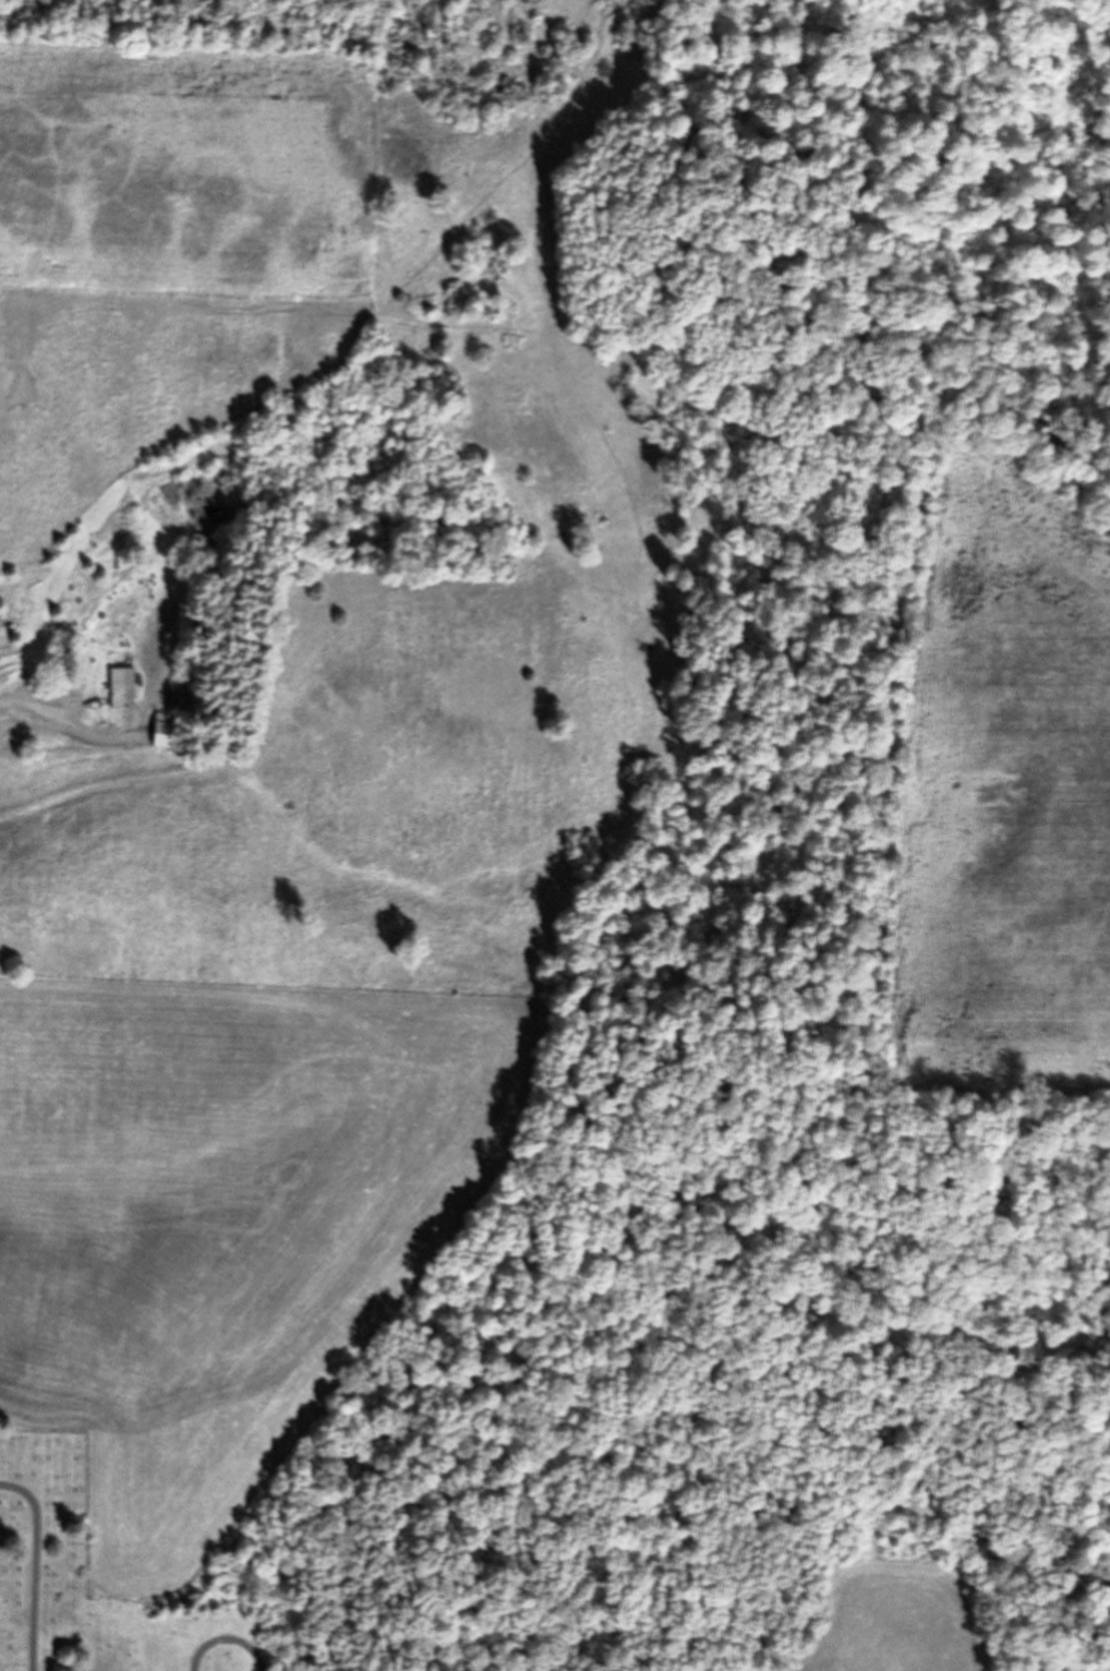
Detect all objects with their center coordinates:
building: (119, 680)
building: (162, 731)
park: (44, 1517)

